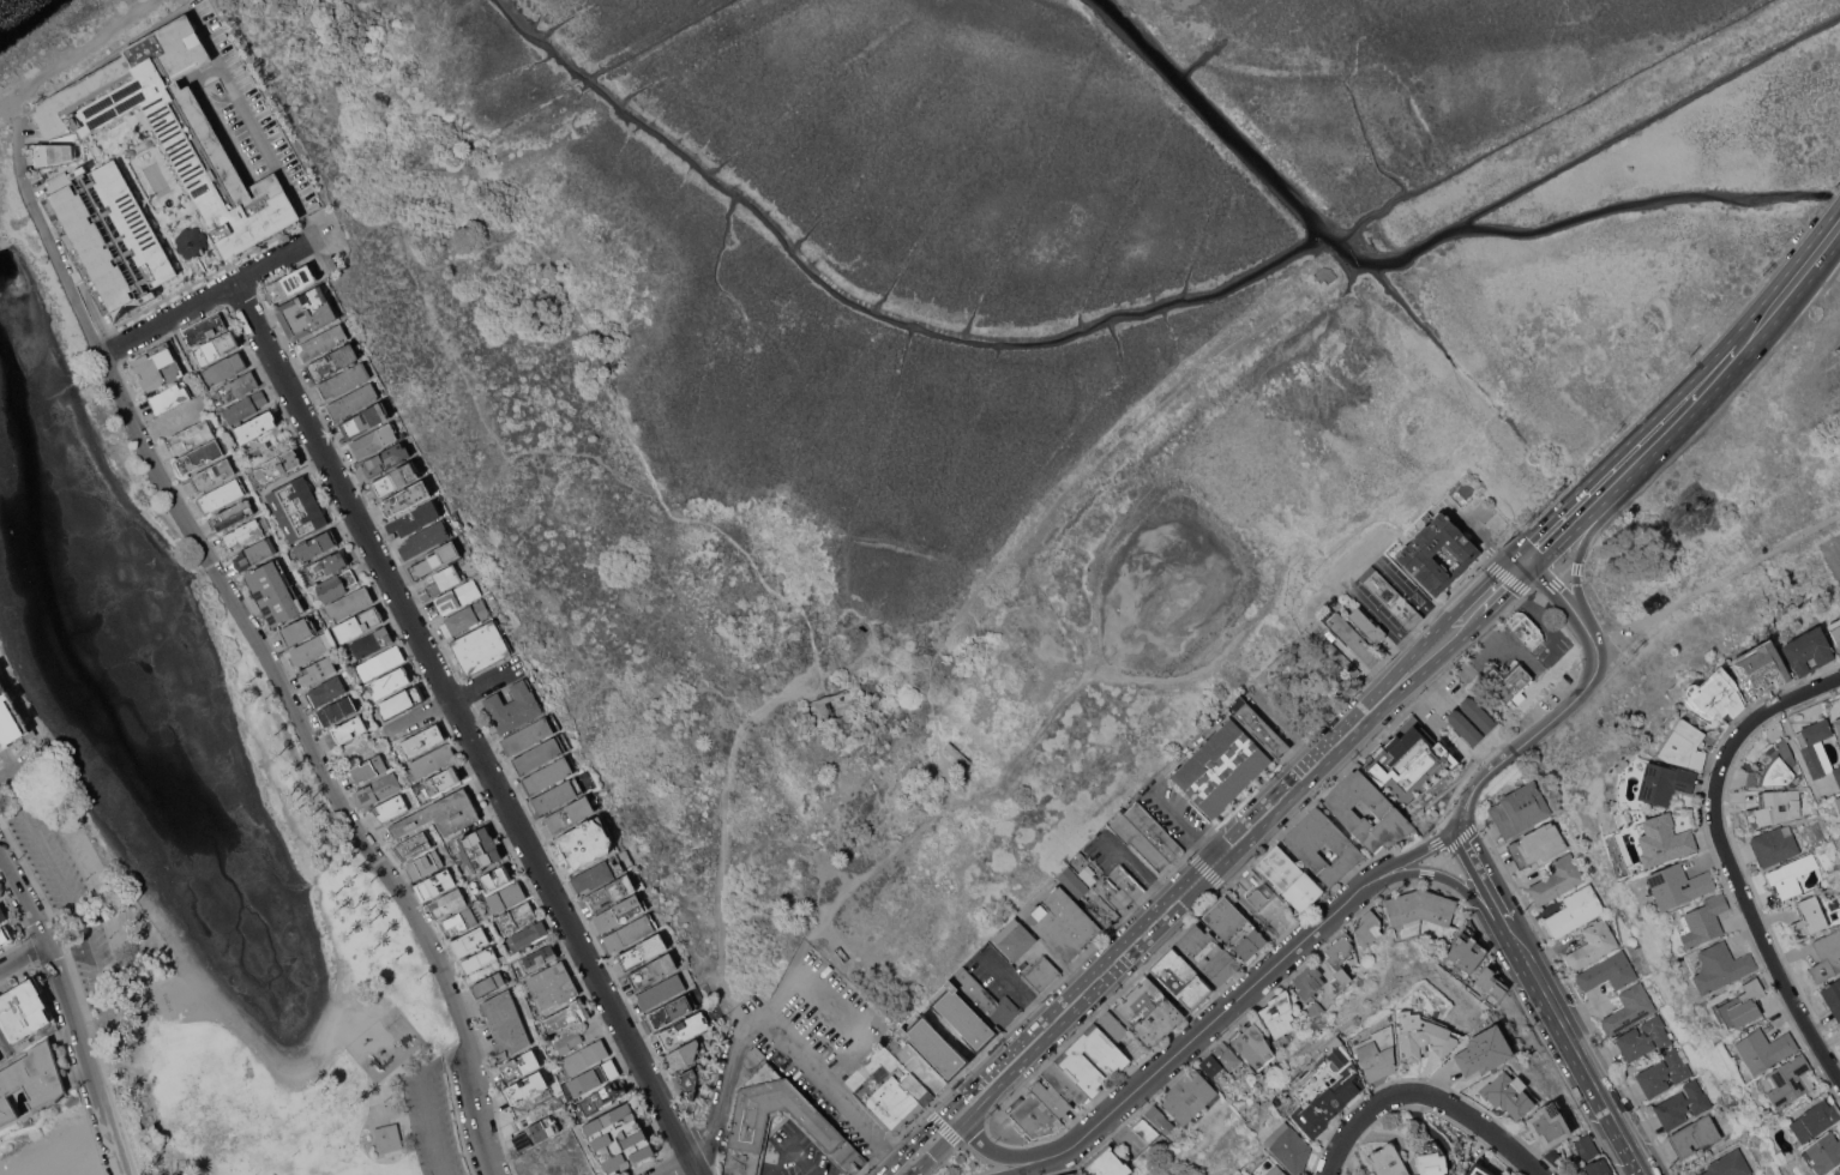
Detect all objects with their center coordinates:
road: (79, 54)
road: (14, 107)
road: (245, 112)
building: (175, 131)
building: (139, 146)
building: (53, 152)
road: (349, 215)
road: (307, 227)
building: (110, 231)
road: (47, 237)
building: (191, 241)
building: (291, 282)
road: (203, 297)
building: (307, 312)
road: (437, 321)
building: (204, 327)
building: (323, 342)
building: (216, 348)
road: (1737, 349)
building: (333, 361)
building: (160, 366)
building: (226, 367)
building: (343, 380)
building: (239, 385)
building: (170, 397)
building: (351, 400)
building: (245, 406)
building: (365, 420)
building: (257, 426)
building: (192, 435)
building: (374, 439)
building: (198, 457)
building: (386, 458)
road: (1096, 460)
building: (277, 466)
building: (214, 474)
building: (396, 480)
building: (1467, 488)
building: (222, 495)
building: (405, 498)
building: (1477, 500)
road: (663, 504)
building: (297, 507)
building: (231, 513)
road: (479, 513)
road: (1574, 513)
building: (415, 518)
building: (242, 534)
building: (426, 538)
road: (1582, 543)
building: (317, 544)
building: (467, 549)
building: (254, 553)
building: (1414, 553)
building: (435, 559)
traffic signals: (1526, 561)
road: (1347, 566)
building: (321, 567)
building: (445, 579)
road: (1716, 583)
building: (337, 584)
road: (1409, 589)
building: (276, 591)
road: (1559, 593)
building: (458, 596)
building: (1389, 596)
building: (350, 602)
road: (1381, 615)
building: (465, 617)
building: (360, 623)
building: (1367, 625)
building: (1525, 627)
building: (1317, 628)
building: (297, 629)
building: (1835, 631)
building: (1353, 638)
road: (1594, 640)
building: (372, 641)
building: (481, 646)
building: (1808, 649)
building: (308, 650)
road: (1313, 658)
road: (1215, 659)
building: (381, 662)
building: (1347, 664)
building: (320, 668)
road: (916, 668)
building: (1761, 668)
building: (1505, 680)
building: (390, 682)
park: (1310, 685)
building: (326, 691)
building: (1715, 693)
road: (729, 697)
road: (458, 698)
building: (403, 700)
building: (513, 706)
building: (1839, 707)
building: (337, 710)
road: (932, 712)
building: (1478, 713)
building: (11, 717)
road: (1544, 723)
building: (1838, 724)
building: (1257, 725)
building: (1465, 727)
building: (349, 728)
road: (463, 730)
building: (531, 733)
road: (735, 739)
building: (422, 740)
building: (1685, 745)
building: (1816, 748)
road: (1295, 751)
building: (957, 752)
building: (542, 753)
building: (1406, 757)
road: (315, 758)
building: (433, 760)
road: (26, 761)
building: (1220, 766)
building: (1774, 766)
building: (366, 769)
building: (549, 775)
building: (440, 781)
building: (1662, 782)
building: (377, 789)
building: (558, 794)
building: (1836, 803)
road: (1465, 806)
building: (391, 807)
building: (1774, 807)
building: (1519, 808)
building: (1384, 809)
building: (573, 811)
park: (190, 812)
building: (441, 814)
road: (1185, 824)
traffic signals: (1455, 827)
building: (1153, 830)
building: (1817, 830)
building: (1839, 836)
road: (1240, 837)
building: (1664, 839)
building: (1138, 840)
building: (584, 842)
building: (1537, 844)
building: (1774, 844)
building: (414, 845)
building: (1305, 845)
building: (479, 849)
road: (1413, 852)
building: (1080, 854)
road: (1728, 856)
building: (426, 864)
road: (874, 868)
road: (1140, 868)
building: (603, 870)
building: (1790, 875)
building: (1289, 876)
building: (494, 878)
building: (1557, 879)
road: (1451, 880)
road: (1484, 880)
building: (1074, 881)
building: (1126, 882)
building: (437, 884)
building: (1678, 885)
building: (1107, 890)
parking lot: (62, 891)
building: (612, 892)
building: (507, 897)
building: (1257, 897)
building: (446, 904)
road: (71, 906)
building: (1420, 906)
building: (1102, 910)
building: (1575, 910)
building: (620, 912)
building: (2, 914)
building: (517, 916)
building: (1808, 917)
building: (463, 920)
building: (1703, 920)
building: (1063, 922)
building: (1234, 927)
building: (1367, 927)
building: (630, 932)
building: (528, 933)
building: (5, 935)
building: (1015, 939)
building: (470, 941)
building: (1593, 944)
building: (1466, 950)
building: (642, 951)
building: (1208, 953)
building: (1827, 954)
road: (23, 956)
building: (1340, 956)
building: (539, 957)
building: (480, 959)
building: (1720, 966)
building: (653, 970)
building: (1607, 971)
building: (1041, 972)
building: (1180, 978)
road: (786, 981)
building: (1309, 981)
building: (488, 983)
building: (1490, 983)
building: (552, 986)
building: (661, 992)
building: (1832, 995)
building: (985, 998)
building: (1743, 1004)
road: (1222, 1008)
building: (1313, 1008)
building: (1629, 1008)
building: (24, 1010)
building: (671, 1011)
building: (1148, 1011)
road: (70, 1012)
building: (1279, 1013)
building: (567, 1014)
building: (964, 1017)
building: (505, 1023)
building: (1111, 1025)
building: (684, 1029)
road: (772, 1034)
building: (1424, 1035)
building: (1643, 1038)
building: (569, 1040)
road: (5, 1042)
building: (1252, 1044)
building: (934, 1047)
building: (1376, 1048)
building: (1763, 1048)
building: (1484, 1050)
building: (686, 1053)
road: (1579, 1054)
building: (1226, 1055)
building: (585, 1056)
building: (0, 1057)
building: (0, 1060)
building: (1072, 1060)
building: (521, 1065)
building: (1215, 1069)
building: (1040, 1072)
building: (1665, 1072)
building: (593, 1077)
building: (31, 1080)
building: (690, 1080)
building: (1787, 1080)
building: (1063, 1081)
building: (898, 1083)
building: (527, 1086)
building: (1327, 1087)
road: (1425, 1093)
building: (1508, 1093)
building: (1187, 1095)
building: (602, 1096)
building: (558, 1097)
building: (1052, 1097)
road: (426, 1098)
building: (1682, 1104)
building: (528, 1108)
building: (756, 1111)
building: (1033, 1116)
parking lot: (431, 1119)
building: (1160, 1119)
building: (1811, 1121)
building: (1549, 1123)
building: (1144, 1129)
building: (536, 1132)
building: (1695, 1135)
building: (389, 1137)
building: (619, 1138)
road: (925, 1144)
building: (1288, 1146)
building: (1586, 1146)
building: (1822, 1152)
road: (1009, 1153)
building: (1146, 1157)
building: (1388, 1161)
road: (97, 1163)
building: (1106, 1163)
building: (1432, 1163)
road: (1045, 1164)
building: (1728, 1164)
road: (675, 1165)
building: (1598, 1167)
building: (1479, 1169)
building: (1276, 1170)
building: (1838, 1171)
building: (1069, 1173)

